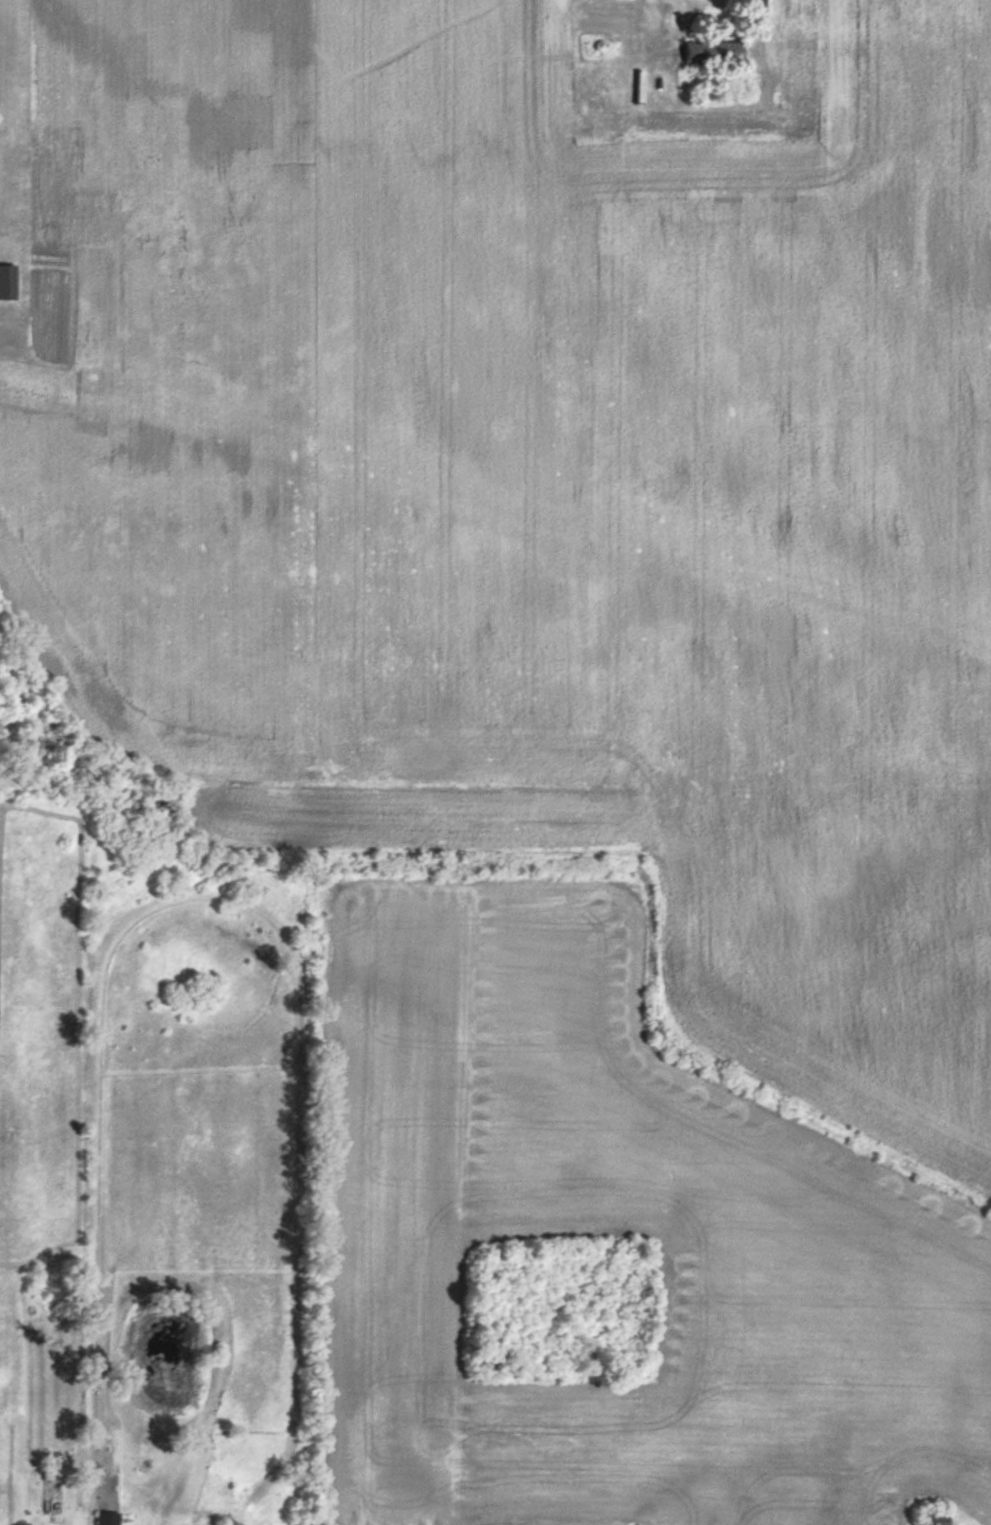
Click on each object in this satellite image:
building: (713, 55)
building: (7, 283)
building: (106, 1518)
building: (934, 1521)

